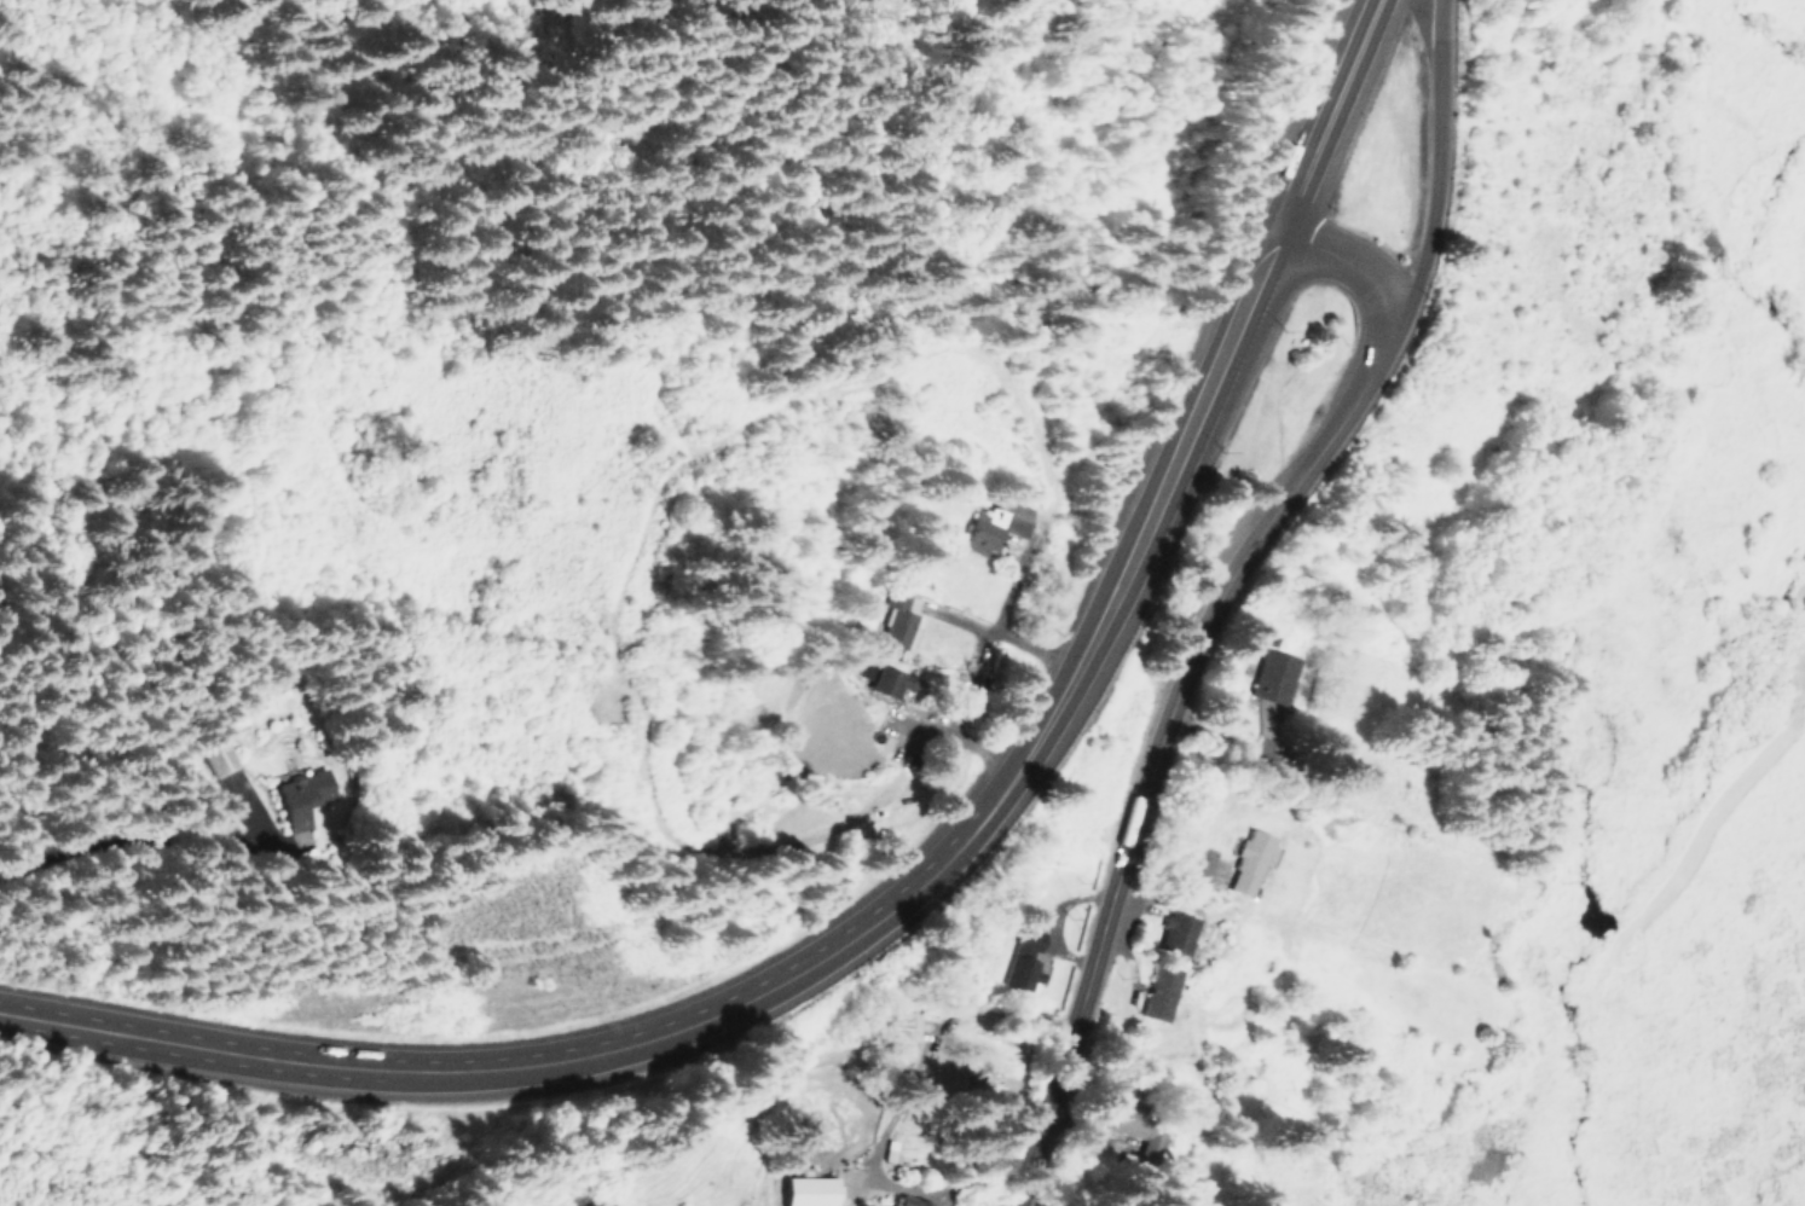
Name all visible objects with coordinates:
road: (1332, 115)
road: (1437, 175)
road: (1356, 269)
road: (1150, 527)
building: (899, 620)
building: (1271, 676)
building: (883, 679)
road: (1157, 753)
building: (214, 754)
building: (300, 796)
building: (1248, 862)
building: (1174, 933)
building: (1023, 959)
building: (1157, 992)
road: (729, 1008)
building: (902, 1030)
road: (202, 1048)
building: (1134, 1130)
building: (808, 1190)
building: (908, 1201)

